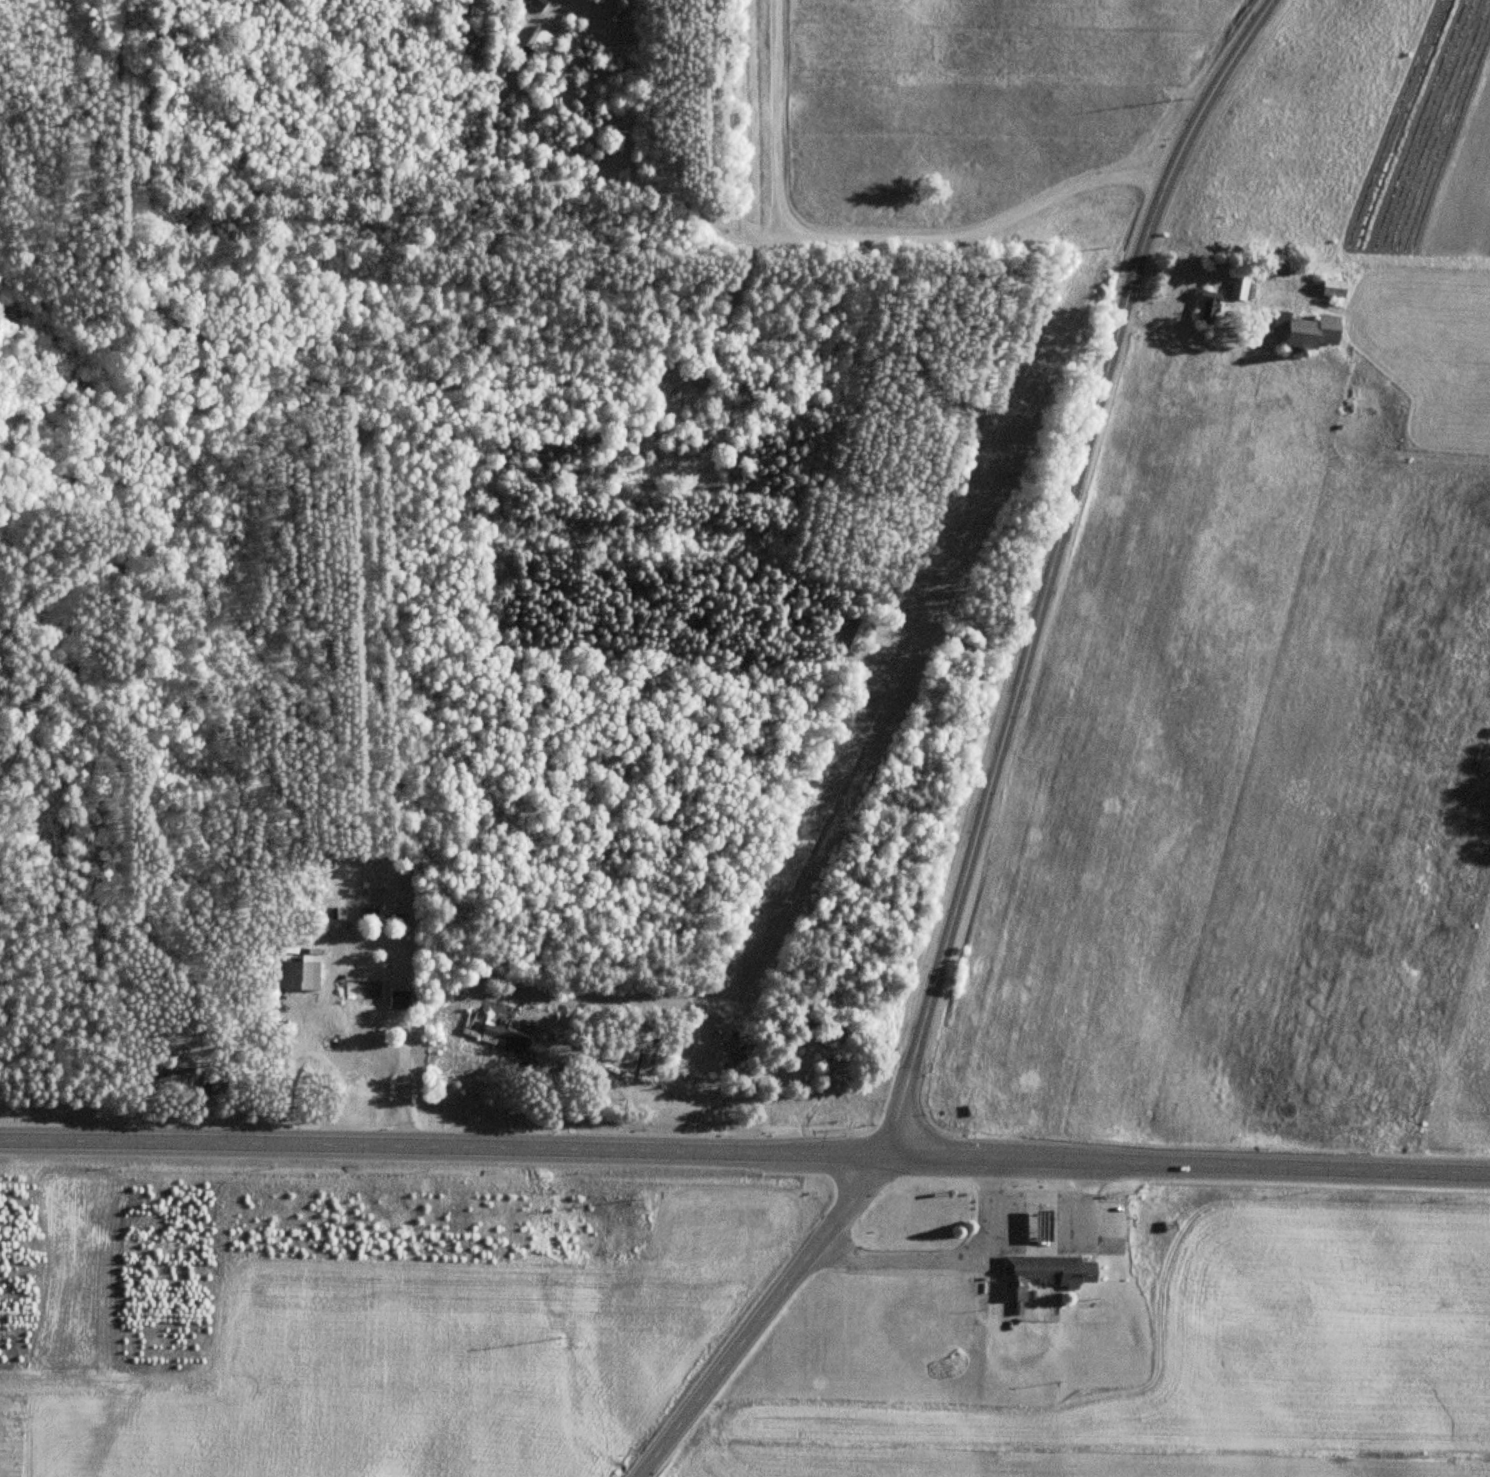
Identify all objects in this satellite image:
building: (535, 3)
road: (602, 28)
building: (533, 38)
road: (641, 179)
road: (864, 244)
building: (1238, 282)
building: (1332, 287)
building: (1206, 305)
building: (1305, 330)
building: (858, 632)
road: (996, 762)
building: (297, 976)
building: (362, 990)
building: (395, 1000)
building: (483, 1032)
building: (738, 1058)
building: (178, 1061)
road: (745, 1153)
building: (1041, 1223)
road: (941, 1256)
building: (1042, 1271)

